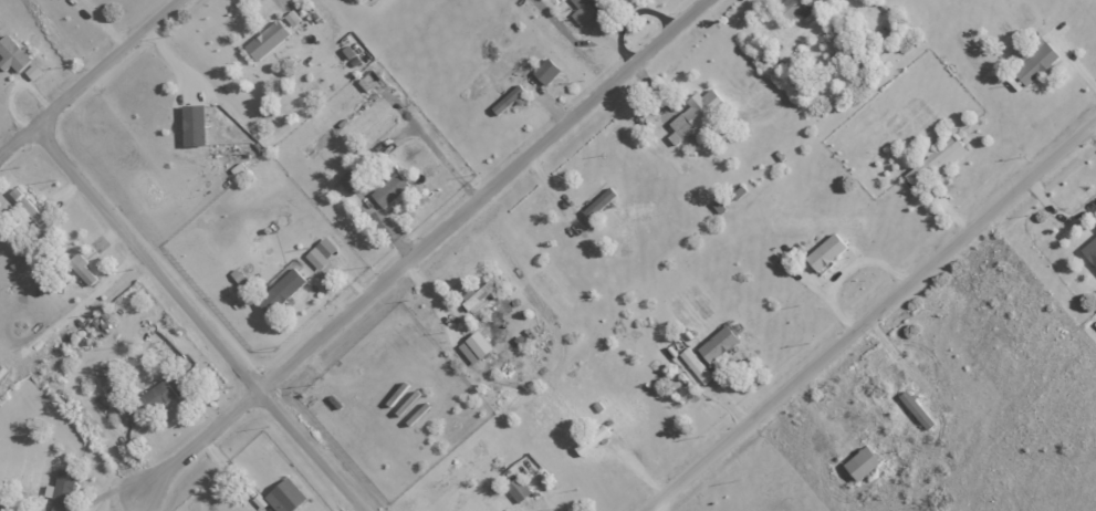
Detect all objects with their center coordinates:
building: (793, 9)
building: (593, 10)
building: (272, 33)
building: (12, 54)
building: (1035, 61)
building: (31, 71)
building: (545, 72)
road: (88, 79)
building: (509, 97)
building: (693, 114)
building: (192, 124)
building: (933, 161)
building: (349, 181)
building: (388, 189)
road: (482, 196)
building: (597, 204)
building: (25, 206)
building: (1095, 223)
building: (1089, 250)
building: (320, 252)
building: (824, 252)
building: (81, 269)
building: (280, 291)
building: (478, 292)
road: (870, 315)
road: (198, 320)
building: (717, 343)
building: (473, 346)
building: (695, 365)
building: (180, 383)
building: (158, 395)
building: (915, 409)
building: (591, 439)
road: (199, 444)
building: (860, 462)
building: (516, 489)
building: (61, 490)
building: (284, 496)

